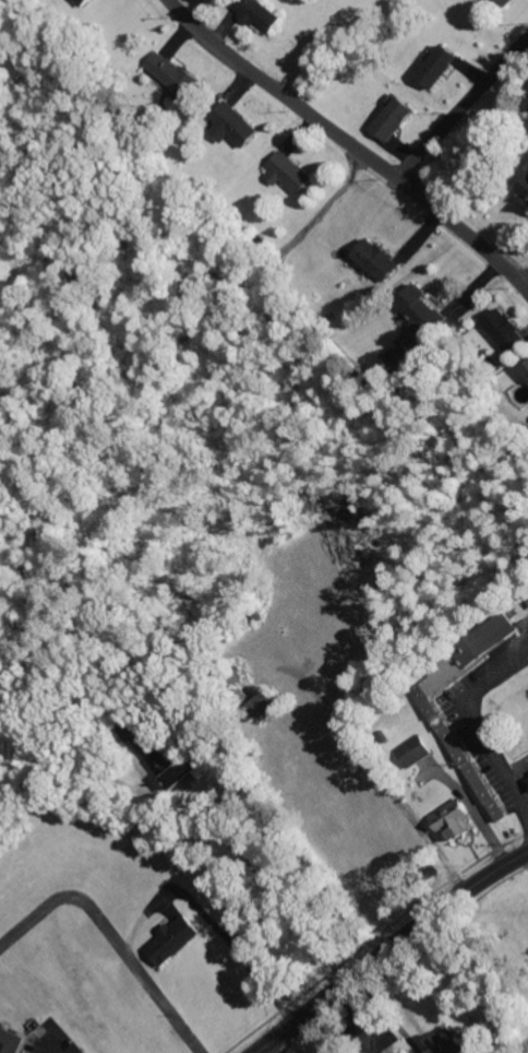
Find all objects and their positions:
building: (86, 2)
building: (513, 2)
building: (262, 13)
building: (441, 66)
building: (176, 73)
building: (526, 99)
road: (460, 106)
building: (395, 117)
building: (236, 126)
road: (351, 144)
building: (295, 174)
building: (526, 189)
building: (379, 259)
road: (524, 280)
building: (419, 307)
building: (506, 331)
building: (403, 355)
building: (526, 370)
building: (416, 750)
building: (168, 761)
building: (527, 778)
building: (457, 819)
building: (176, 940)
road: (394, 955)
building: (456, 1044)
building: (15, 1052)

